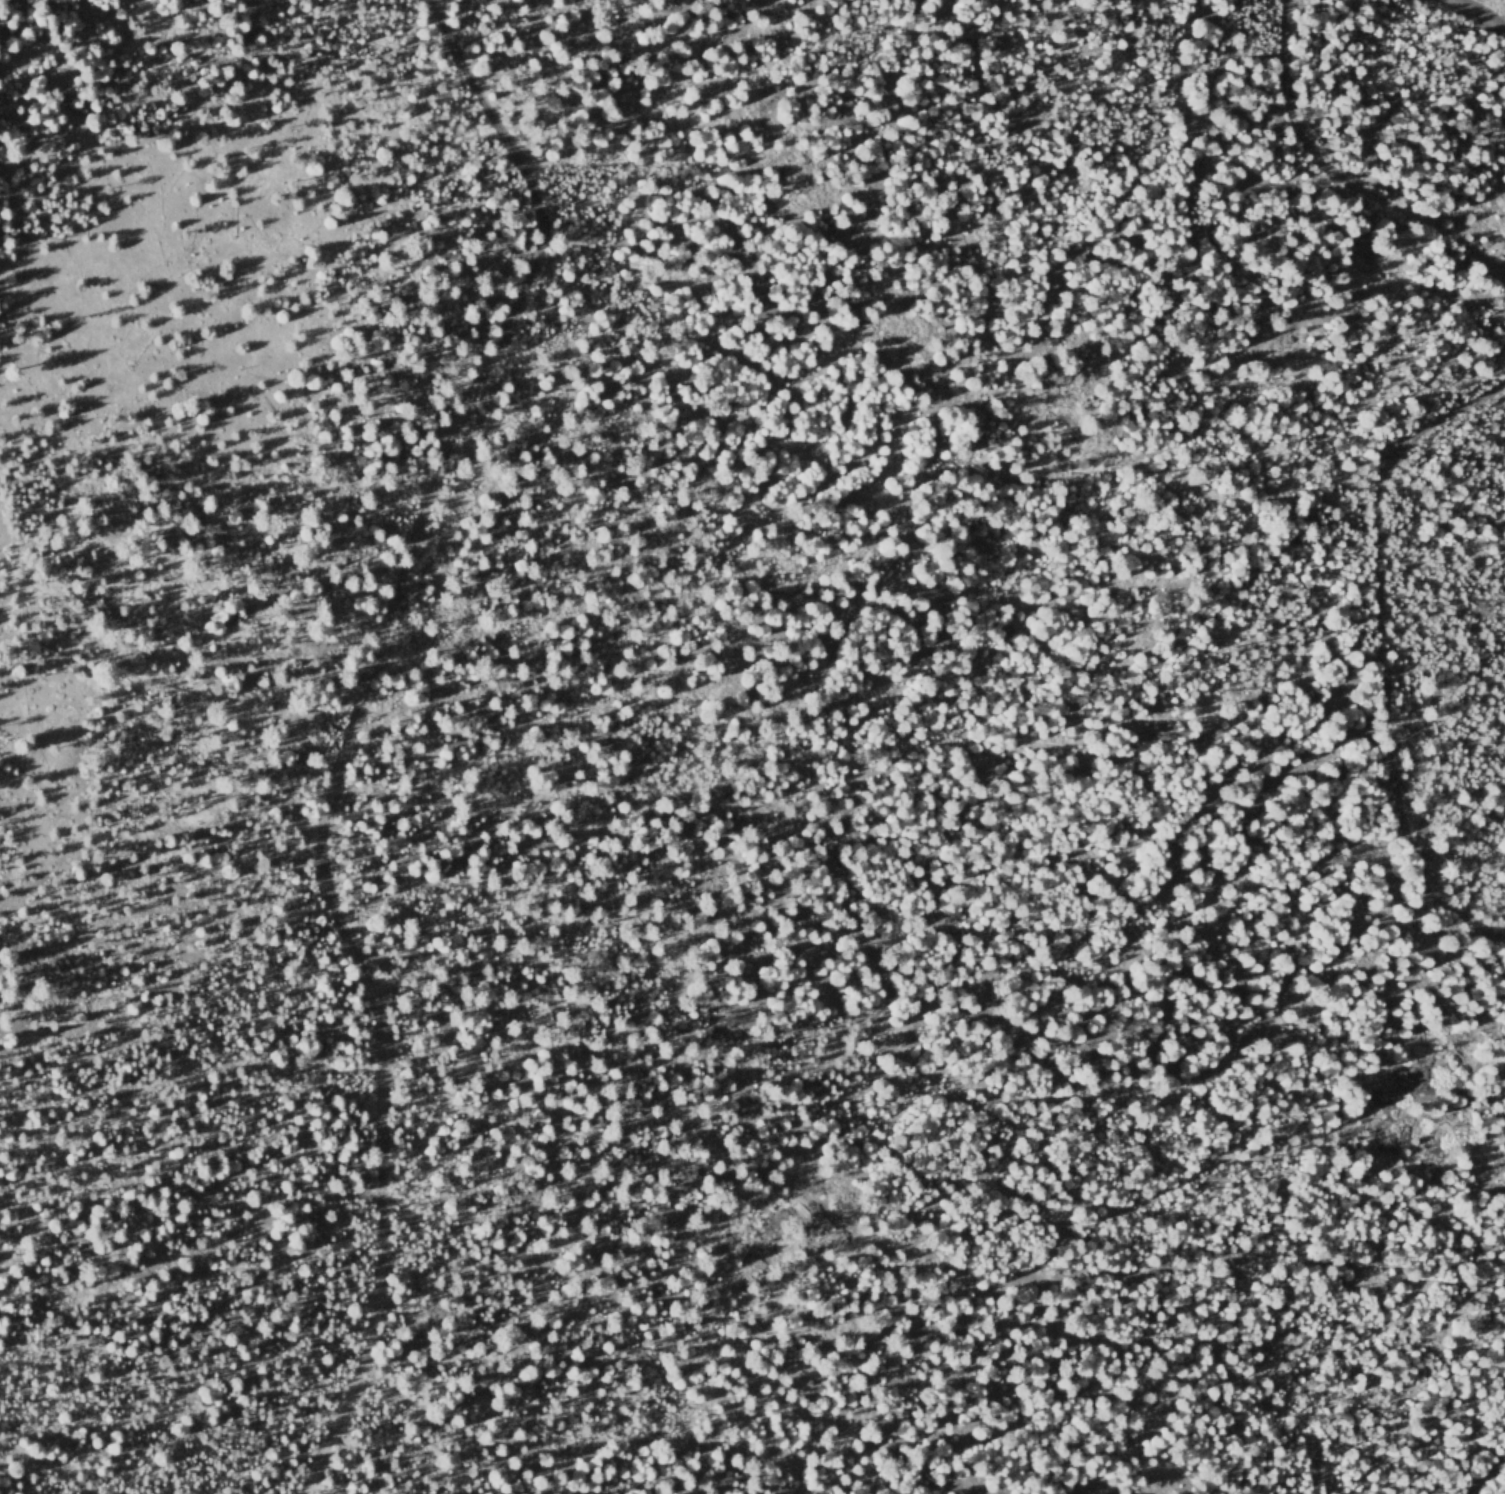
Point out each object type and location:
road: (1470, 18)
road: (1401, 491)
road: (348, 727)

